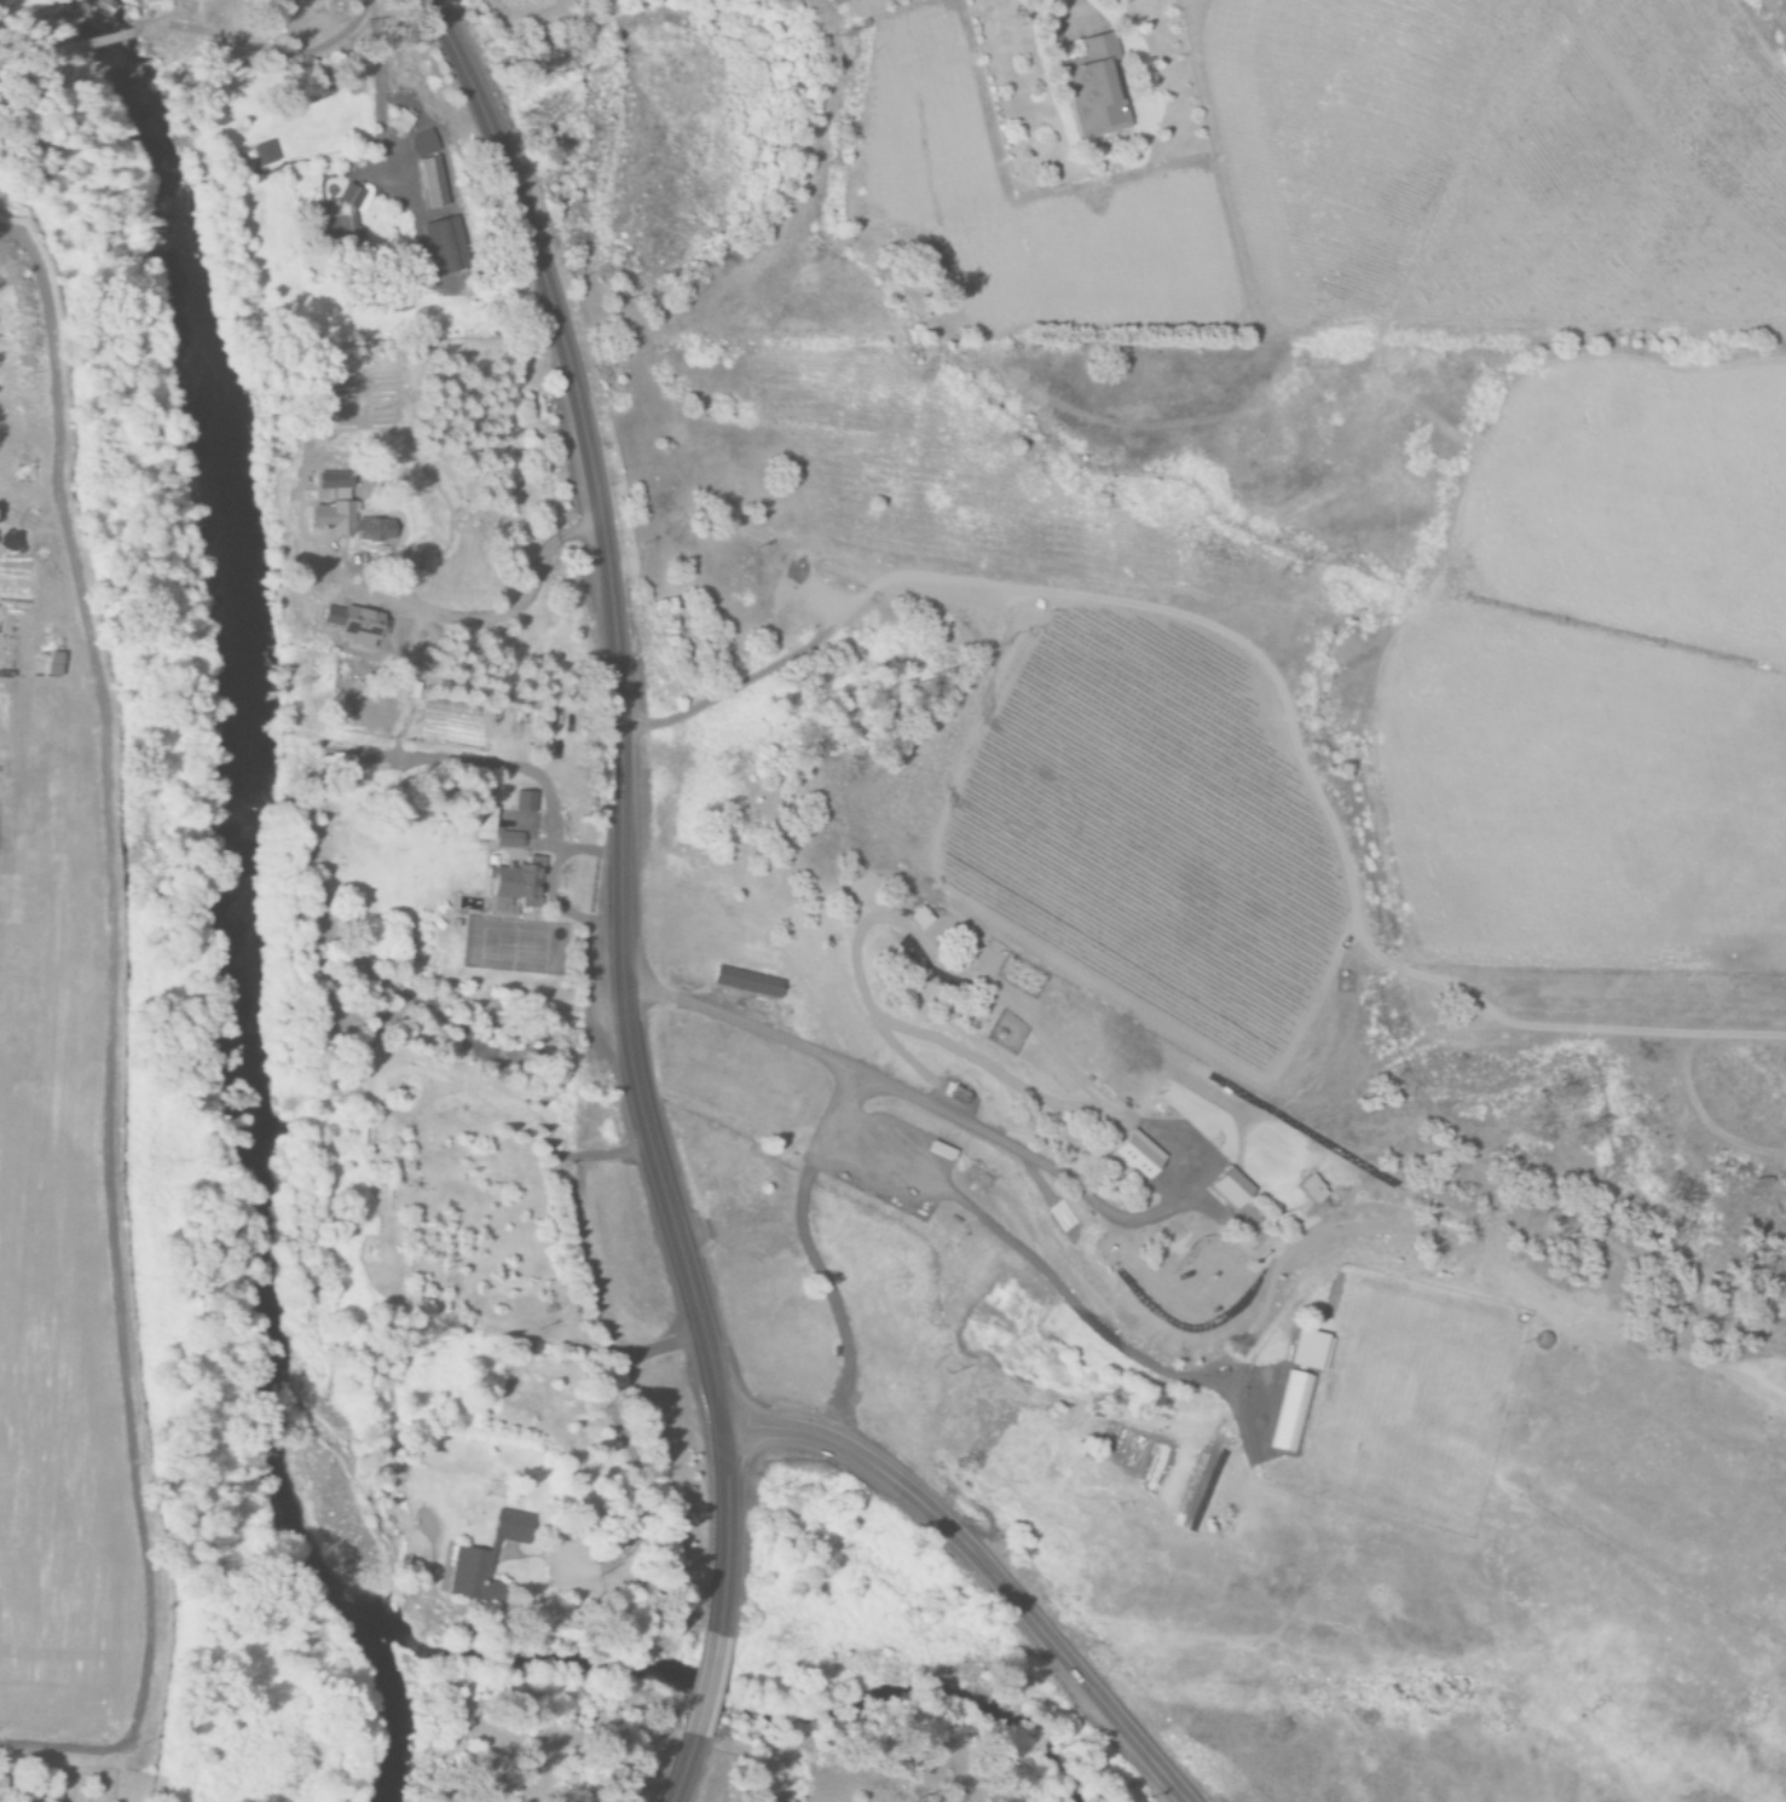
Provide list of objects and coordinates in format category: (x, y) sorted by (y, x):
road: (100, 41)
road: (265, 54)
road: (29, 68)
building: (1094, 91)
building: (399, 121)
building: (422, 144)
building: (262, 154)
building: (432, 183)
building: (348, 197)
building: (346, 235)
building: (345, 515)
building: (353, 625)
building: (52, 664)
building: (524, 802)
road: (618, 803)
building: (482, 824)
river: (259, 826)
building: (507, 839)
building: (514, 886)
building: (918, 918)
building: (746, 982)
road: (1636, 1034)
road: (883, 1084)
building: (1230, 1188)
building: (1308, 1350)
building: (1293, 1411)
building: (484, 1555)
road: (986, 1570)
road: (717, 1686)
river: (744, 1697)
river: (387, 1723)
road: (688, 1775)
building: (0, 1786)
building: (41, 1797)

